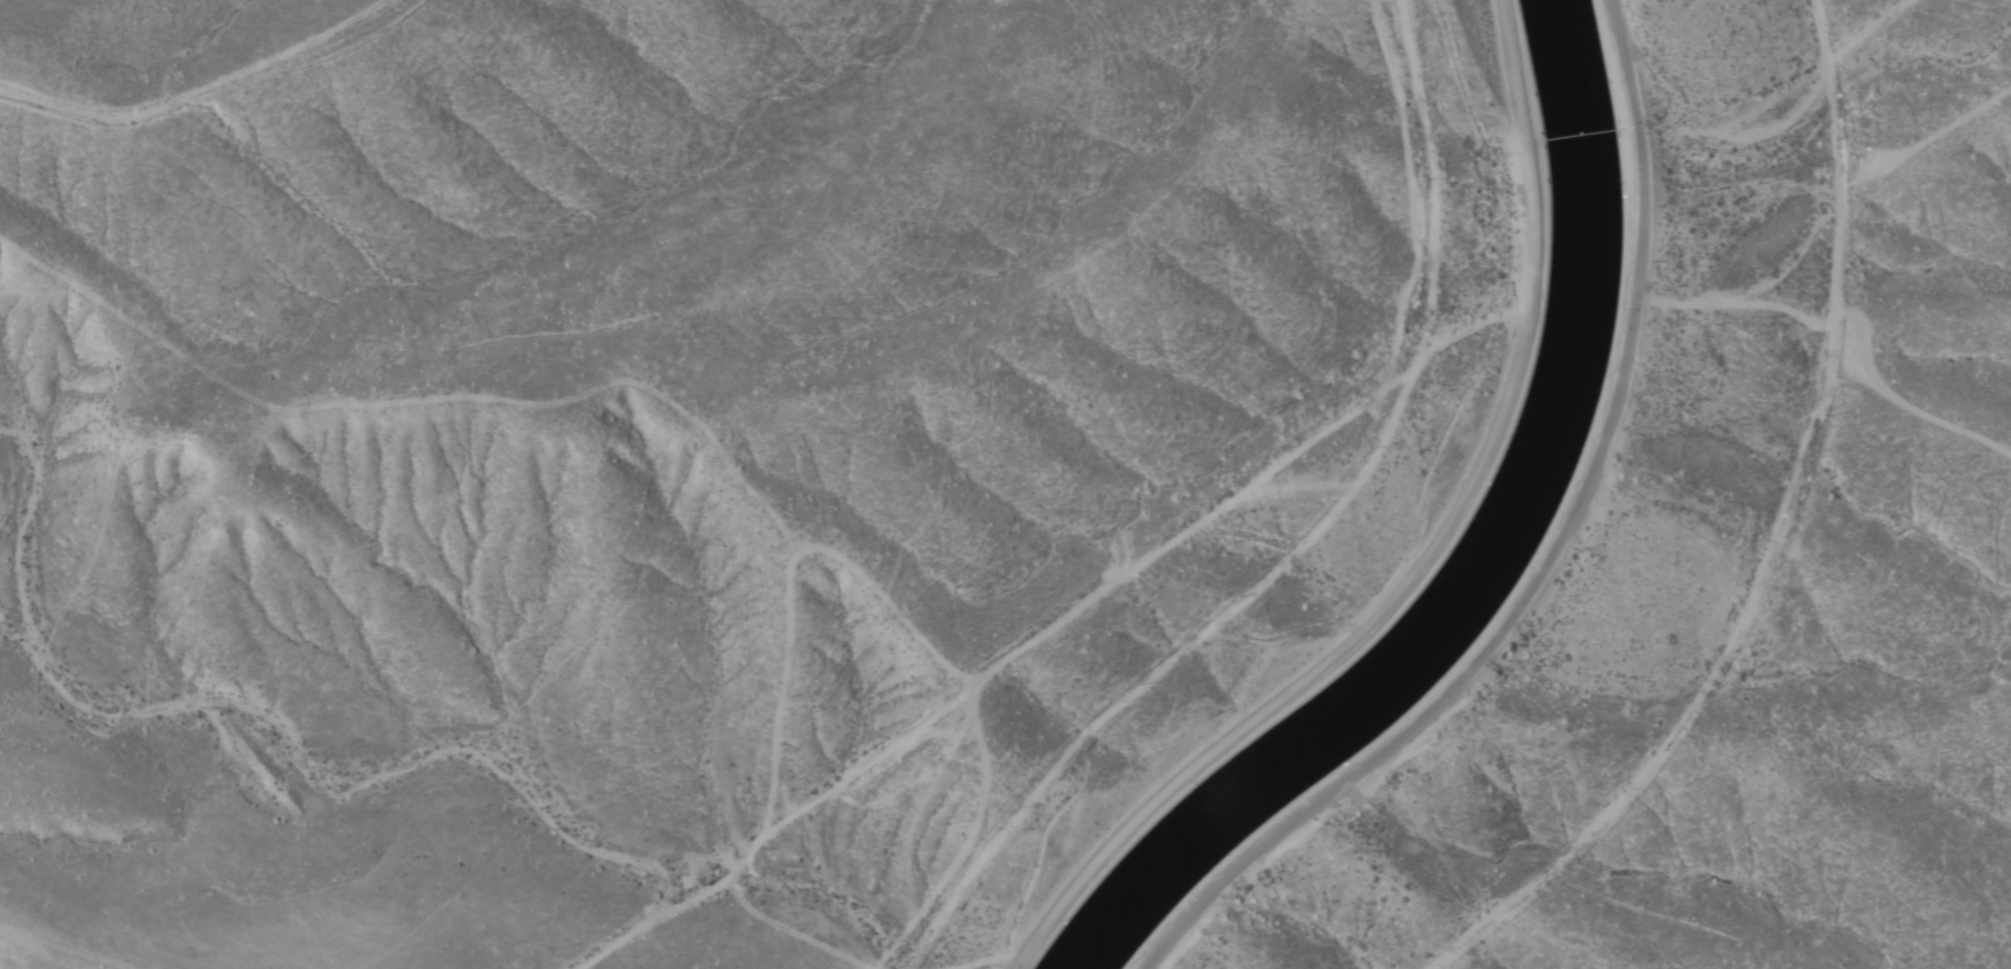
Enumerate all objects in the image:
road: (226, 100)
road: (1783, 542)
road: (1424, 557)
road: (1137, 560)
road: (1546, 560)
road: (104, 930)

